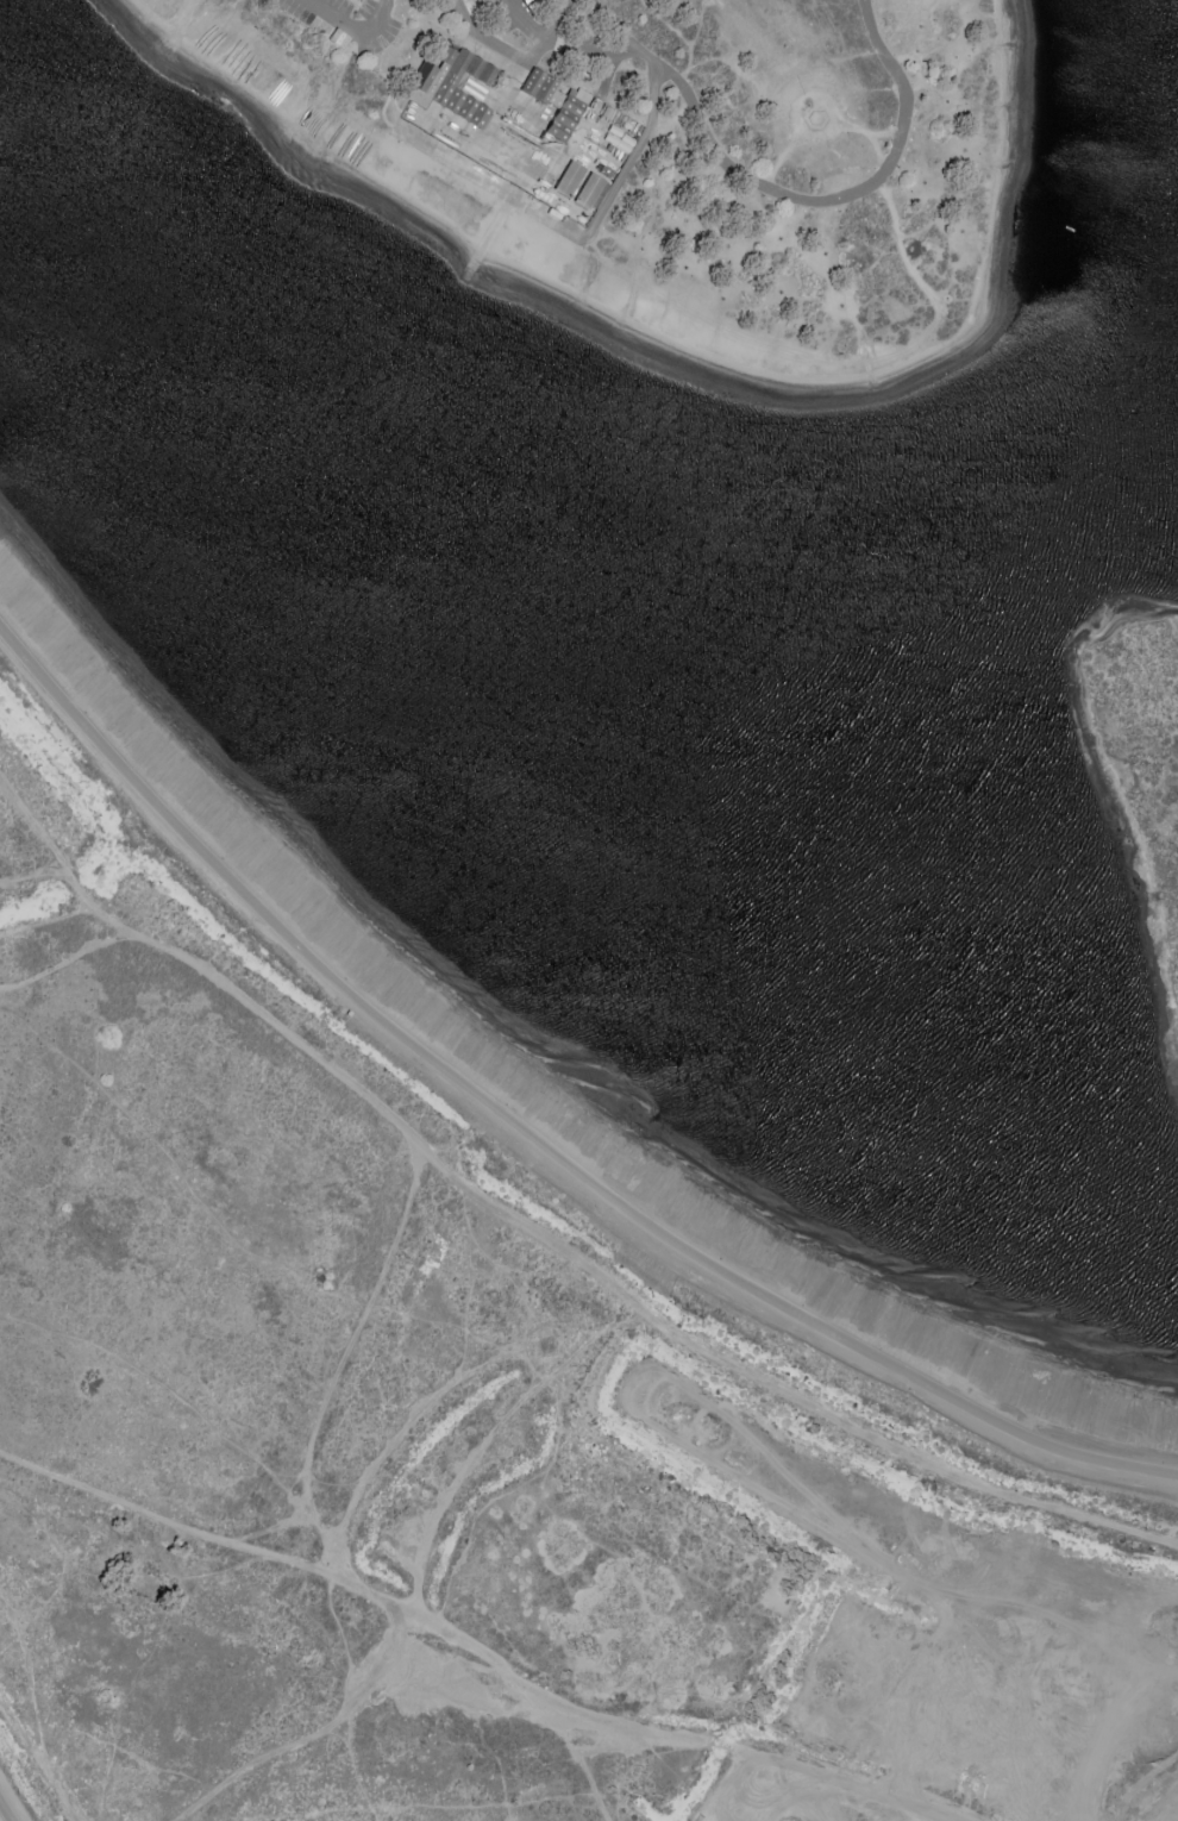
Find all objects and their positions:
road: (519, 25)
road: (352, 29)
road: (622, 56)
road: (515, 61)
road: (607, 80)
building: (457, 81)
building: (554, 92)
building: (543, 109)
road: (637, 150)
park: (666, 151)
building: (569, 176)
road: (833, 187)
building: (589, 189)
road: (39, 831)
road: (63, 960)
road: (531, 1134)
road: (192, 1189)
road: (775, 1388)
park: (472, 1395)
road: (366, 1479)
road: (284, 1489)
road: (305, 1512)
road: (330, 1572)
road: (334, 1617)
road: (372, 1675)
road: (35, 1713)
road: (292, 1740)
road: (566, 1745)
road: (5, 1811)

